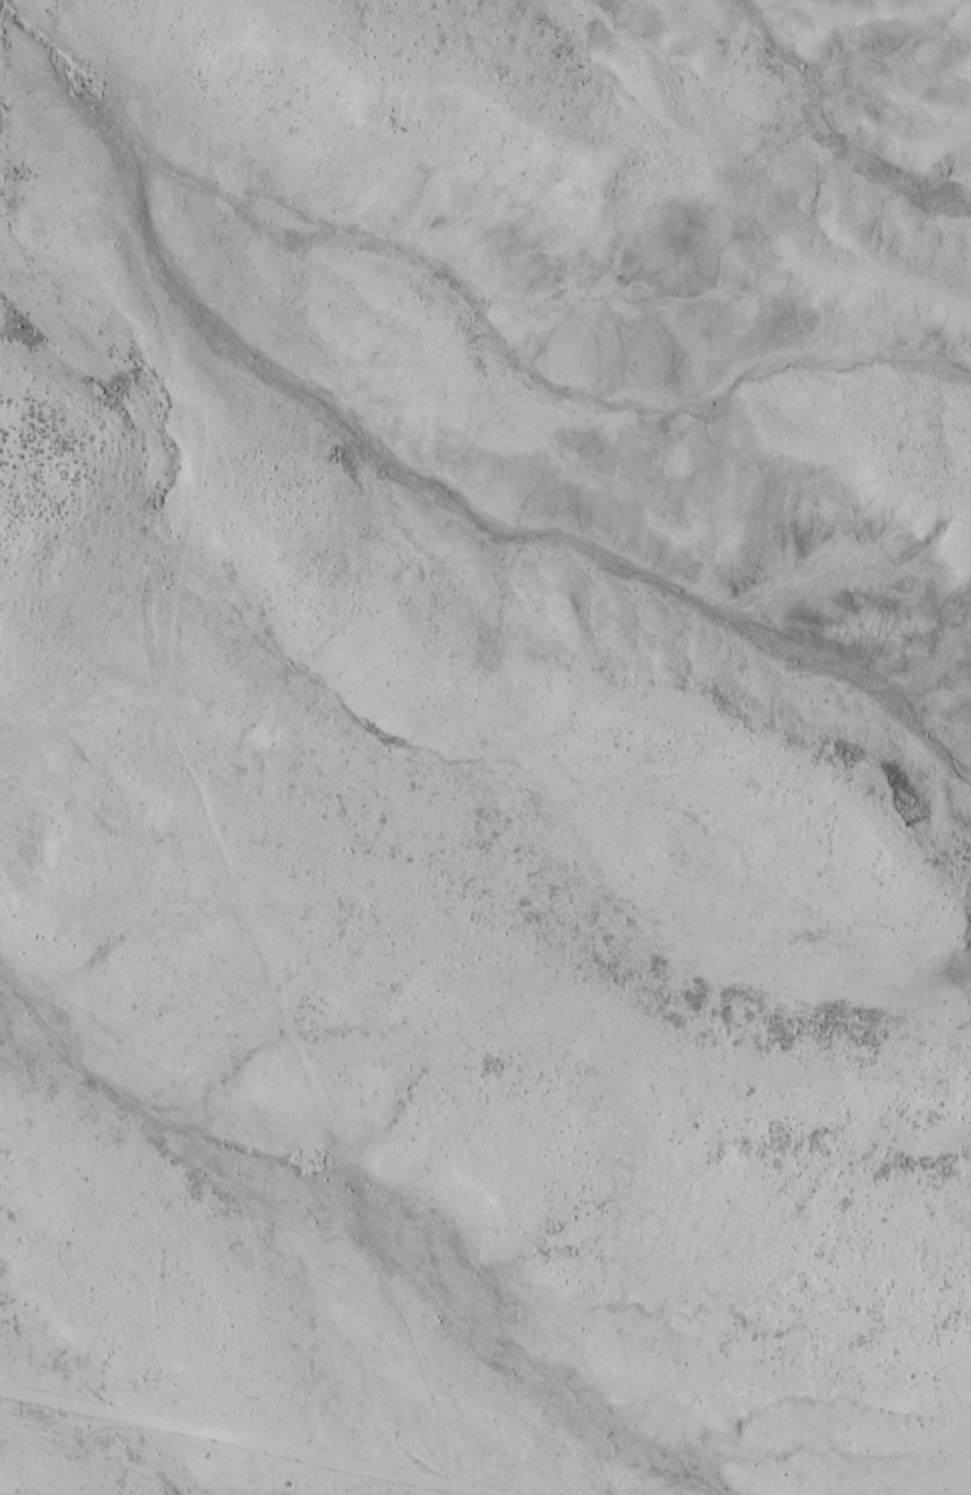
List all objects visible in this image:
road: (300, 1433)

